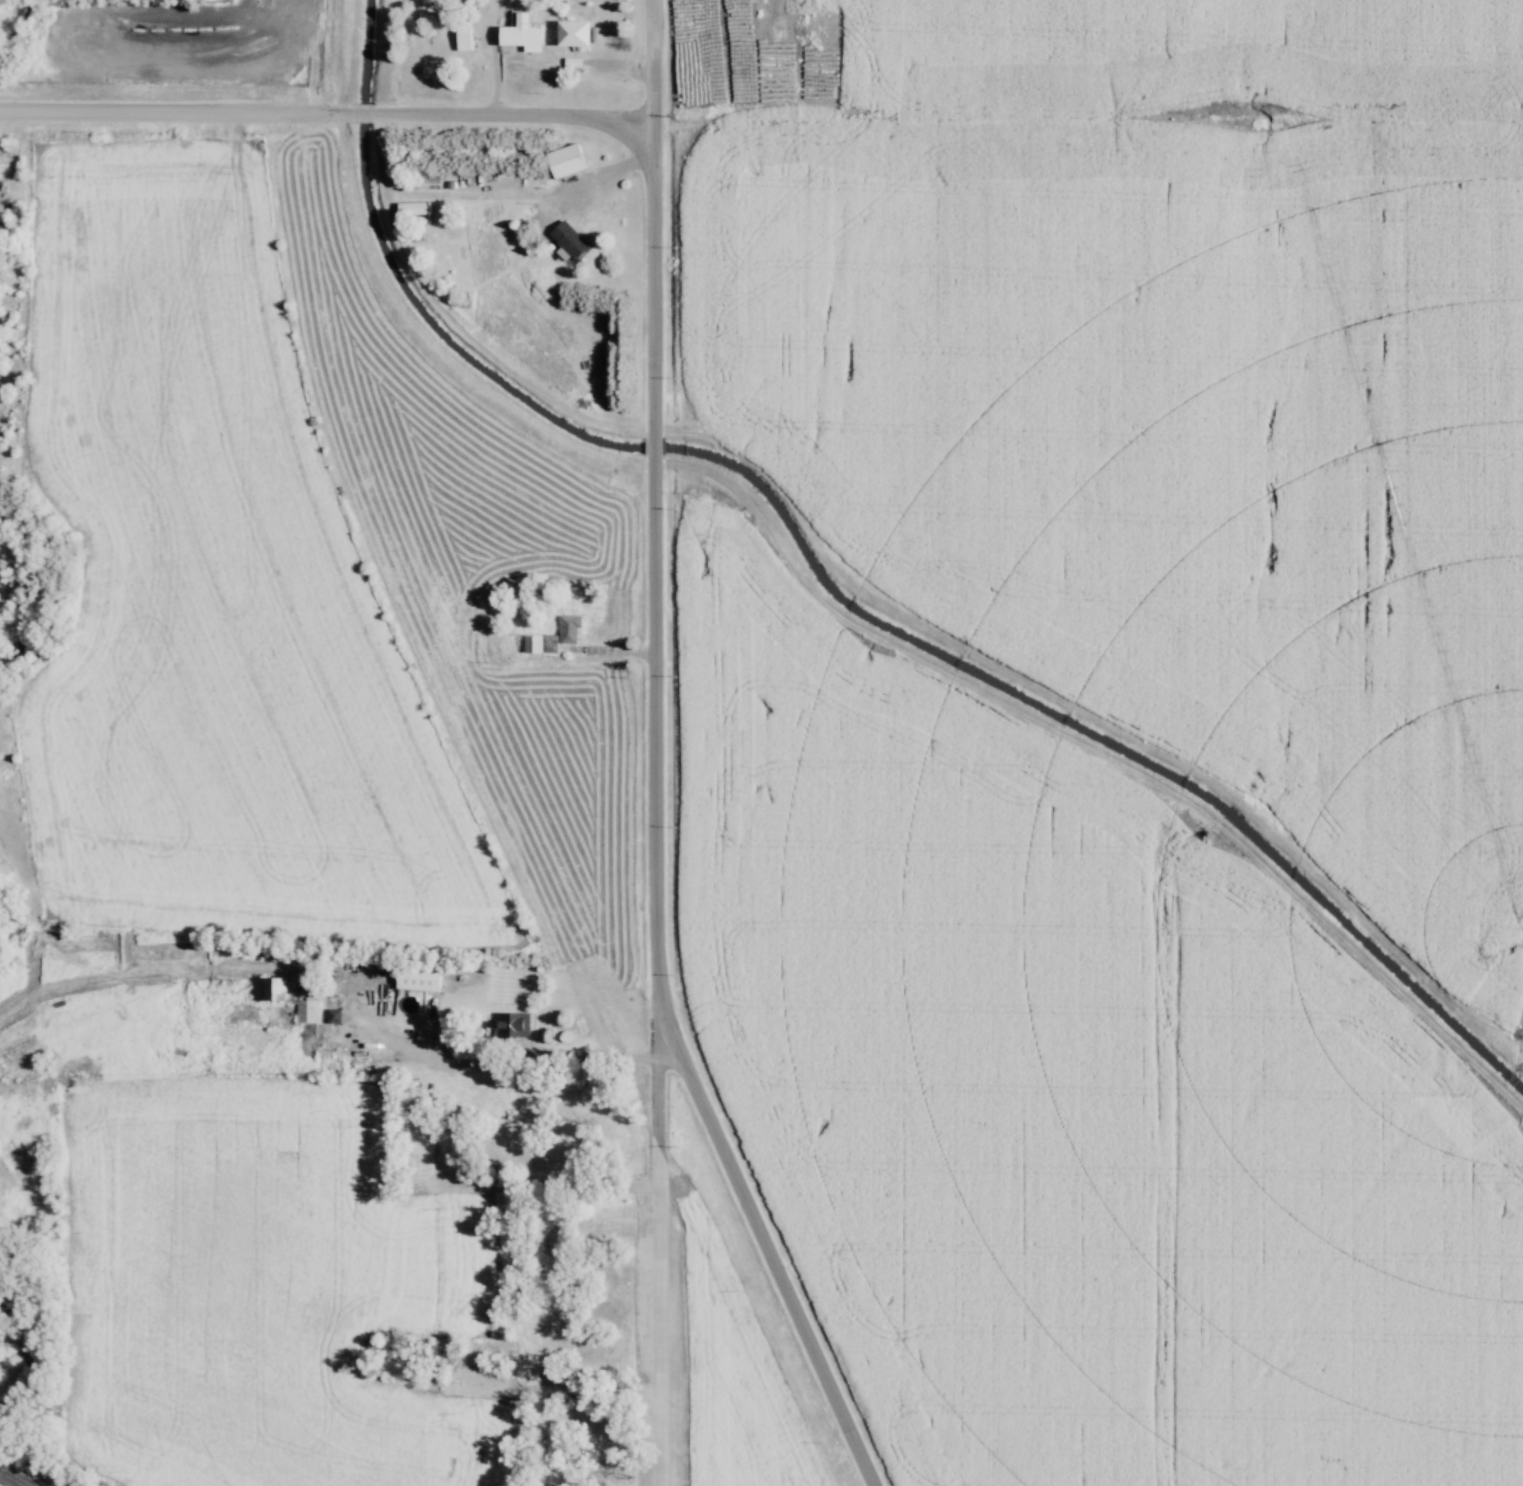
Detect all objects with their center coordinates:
building: (517, 32)
building: (569, 33)
road: (654, 62)
road: (327, 117)
building: (561, 160)
road: (604, 177)
building: (425, 179)
building: (566, 239)
building: (567, 627)
building: (538, 642)
road: (655, 828)
building: (415, 978)
building: (196, 989)
building: (265, 989)
building: (506, 1024)
road: (502, 1062)
road: (658, 1252)
railway: (11, 1478)

